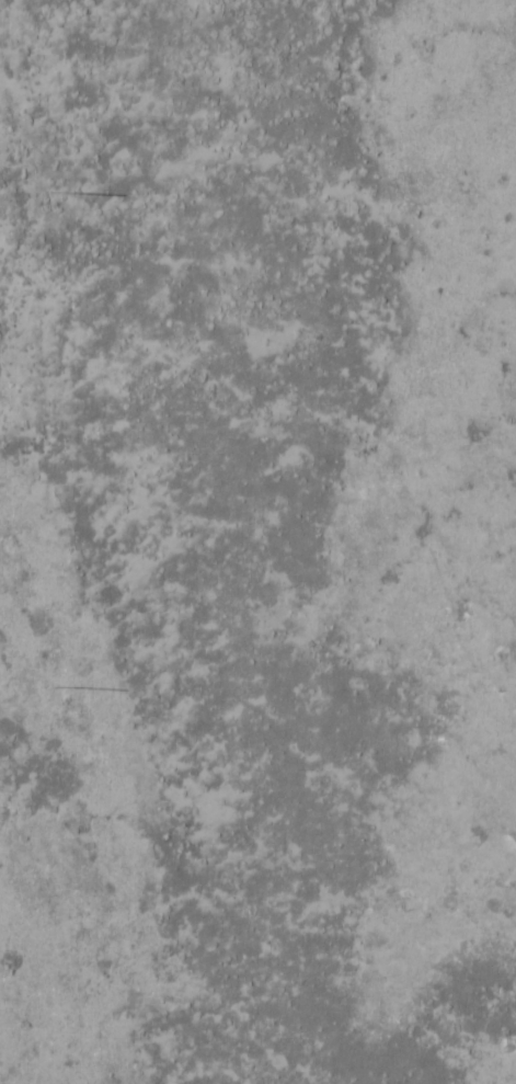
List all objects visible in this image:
power tower: (59, 192)
power tower: (57, 689)

